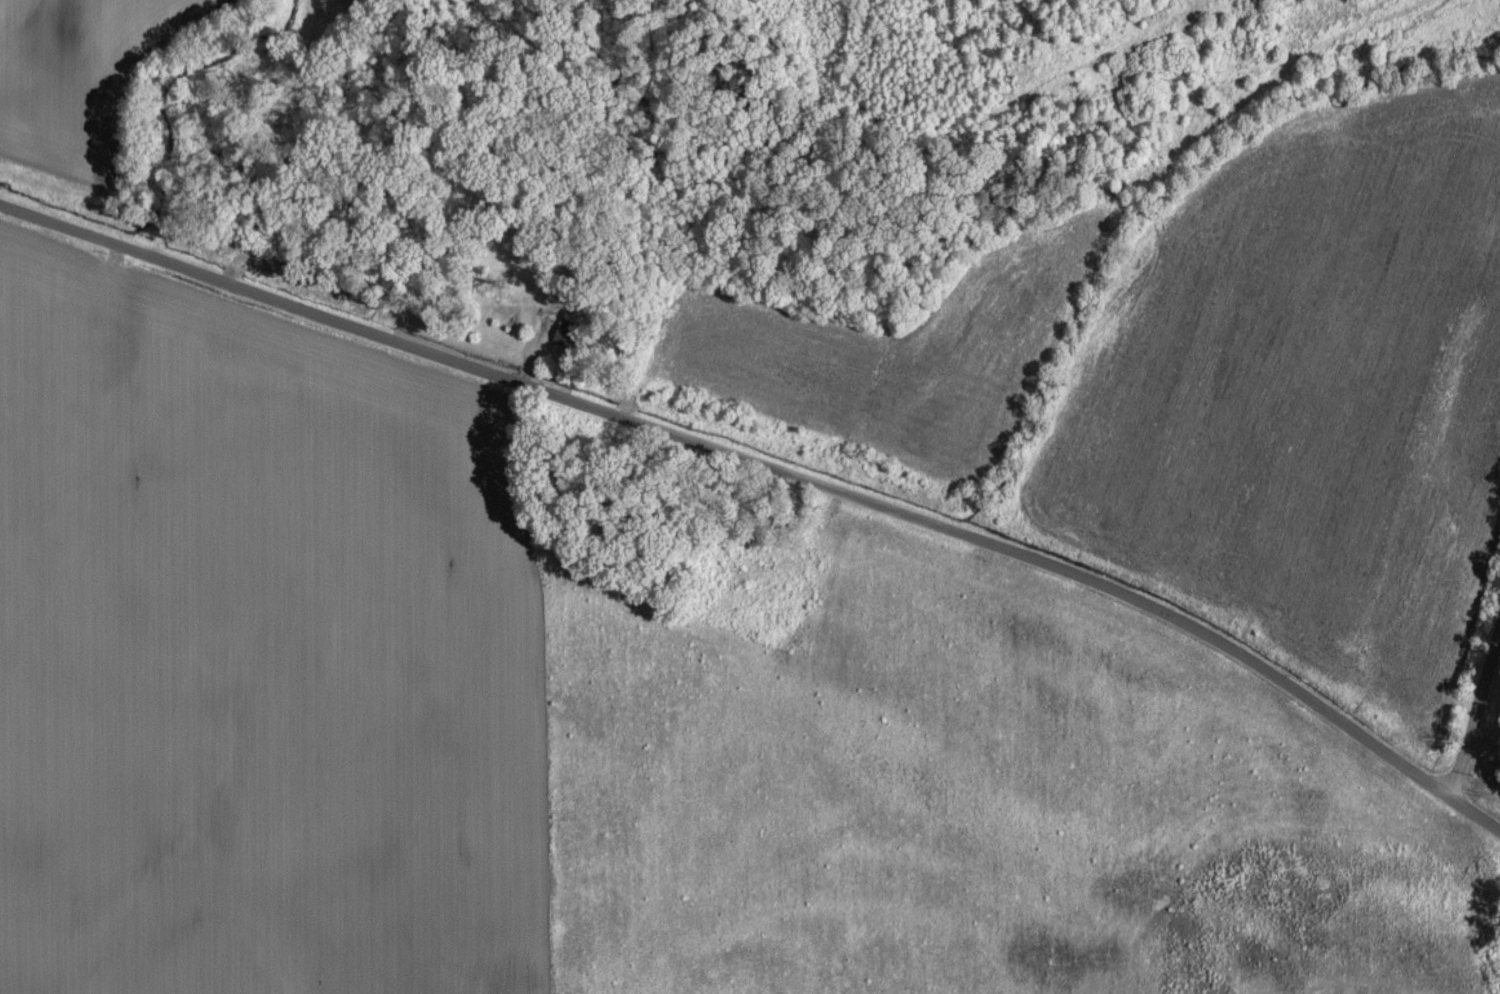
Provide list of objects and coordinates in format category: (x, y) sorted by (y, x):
road: (773, 467)
road: (1475, 704)

